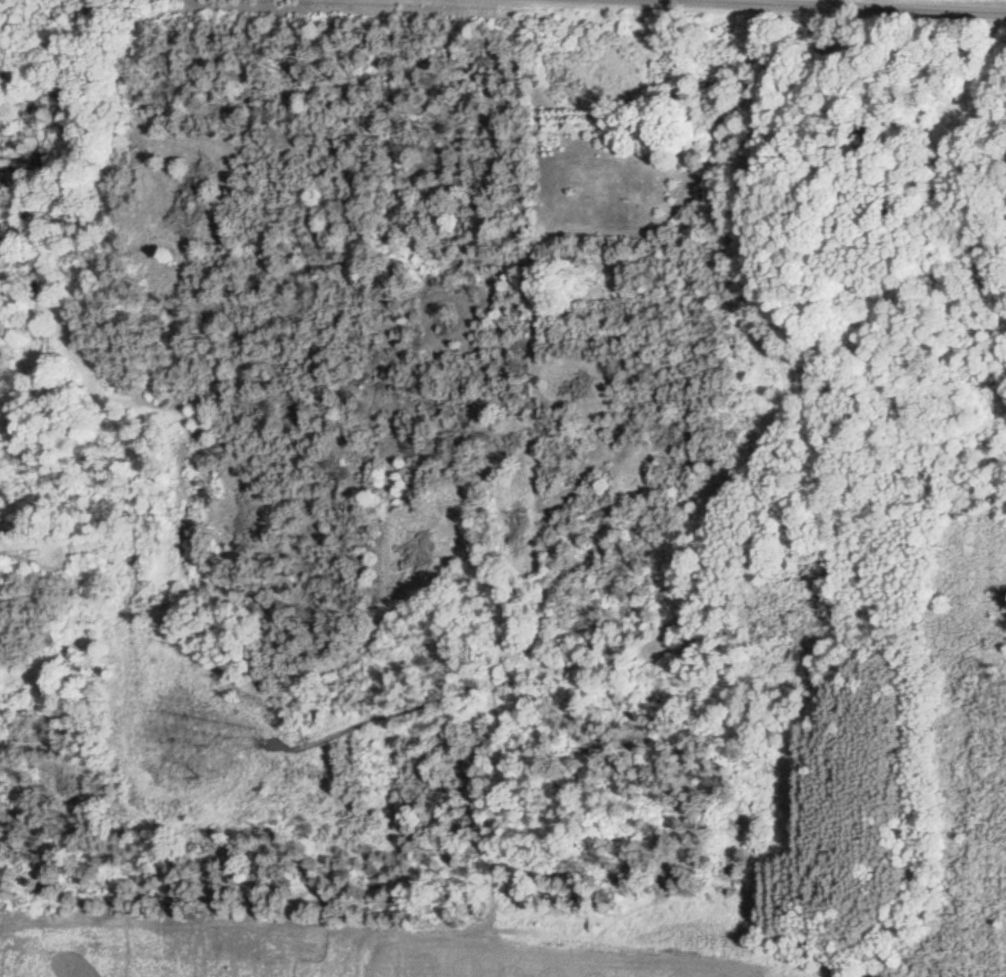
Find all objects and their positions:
road: (884, 4)

